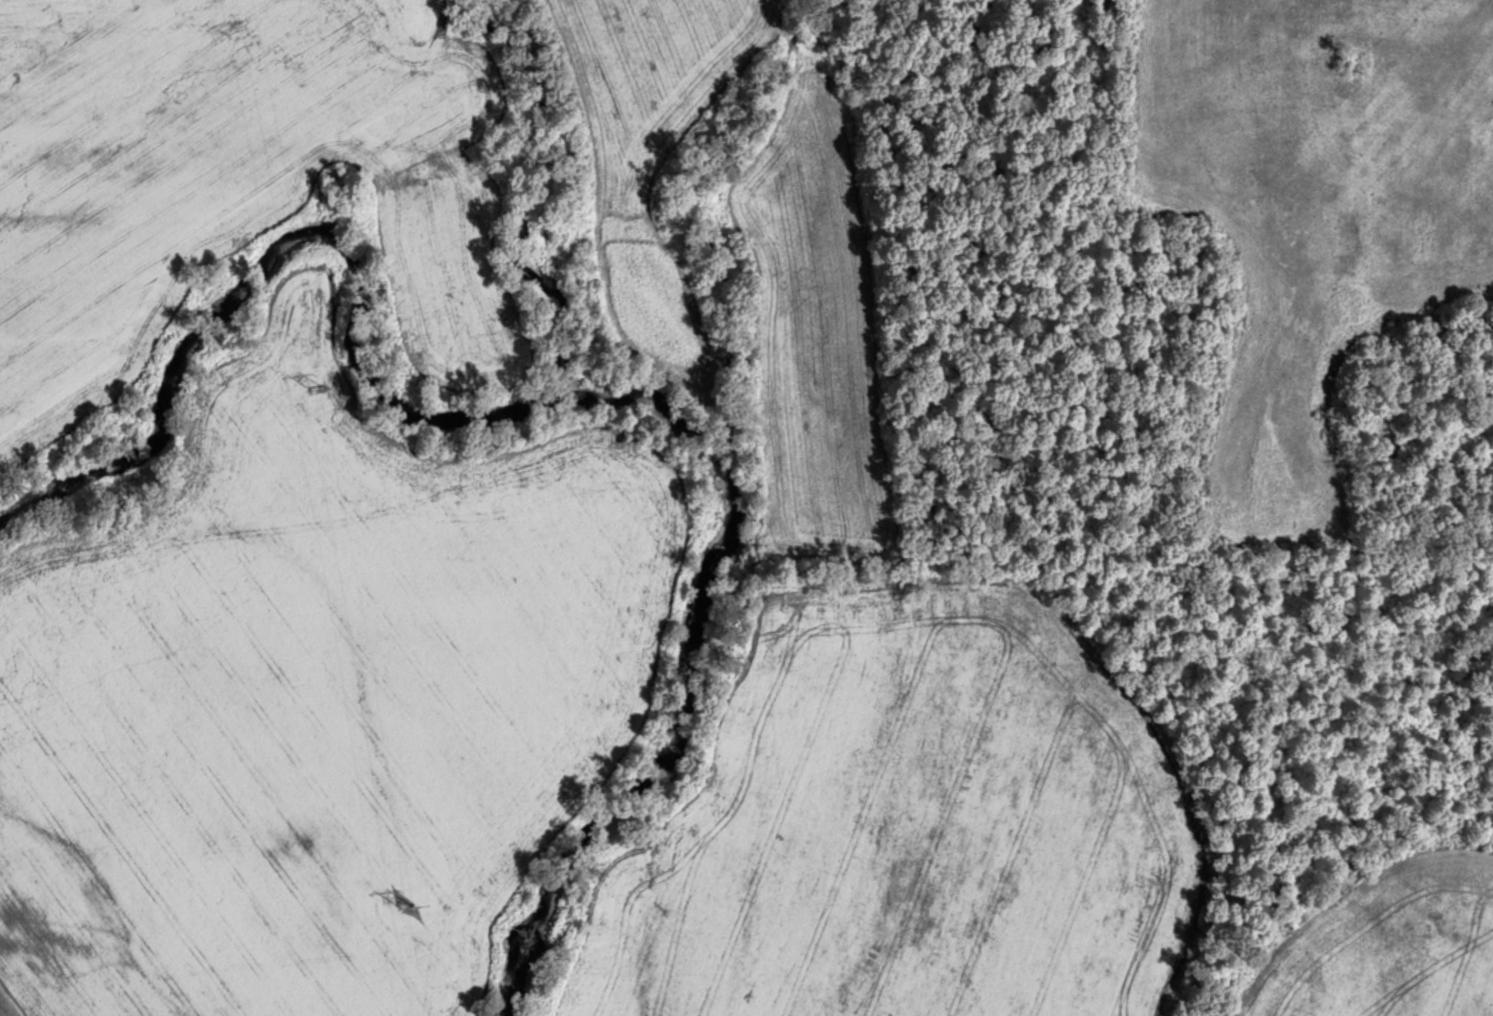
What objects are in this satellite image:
power tower: (315, 389)
power tower: (404, 898)
road: (11, 999)

